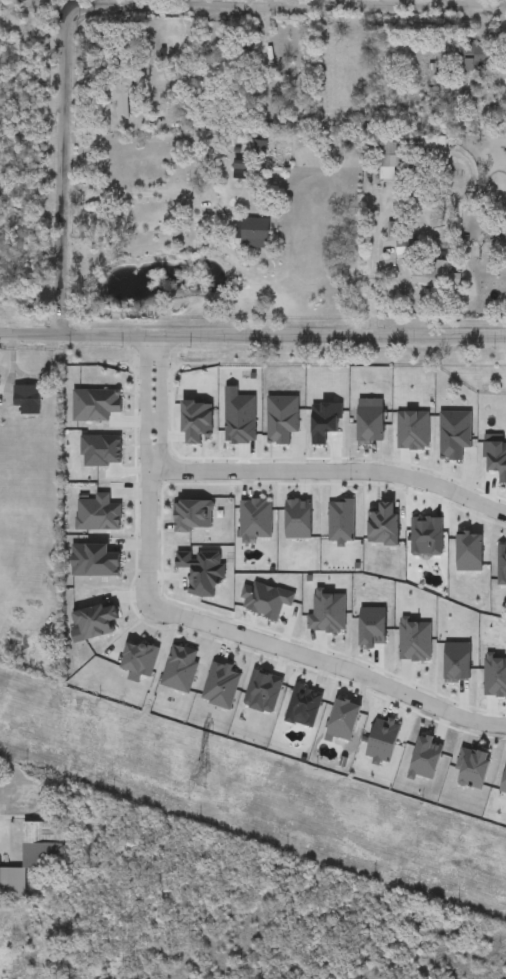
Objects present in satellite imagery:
road: (426, 2)
road: (130, 3)
road: (128, 6)
building: (475, 59)
building: (348, 68)
building: (122, 95)
building: (433, 143)
building: (394, 161)
building: (240, 172)
road: (161, 195)
building: (256, 233)
building: (408, 246)
road: (371, 266)
building: (436, 274)
road: (32, 333)
road: (217, 335)
road: (438, 335)
building: (21, 397)
road: (331, 470)
road: (203, 623)
power tower: (205, 779)
building: (33, 858)

